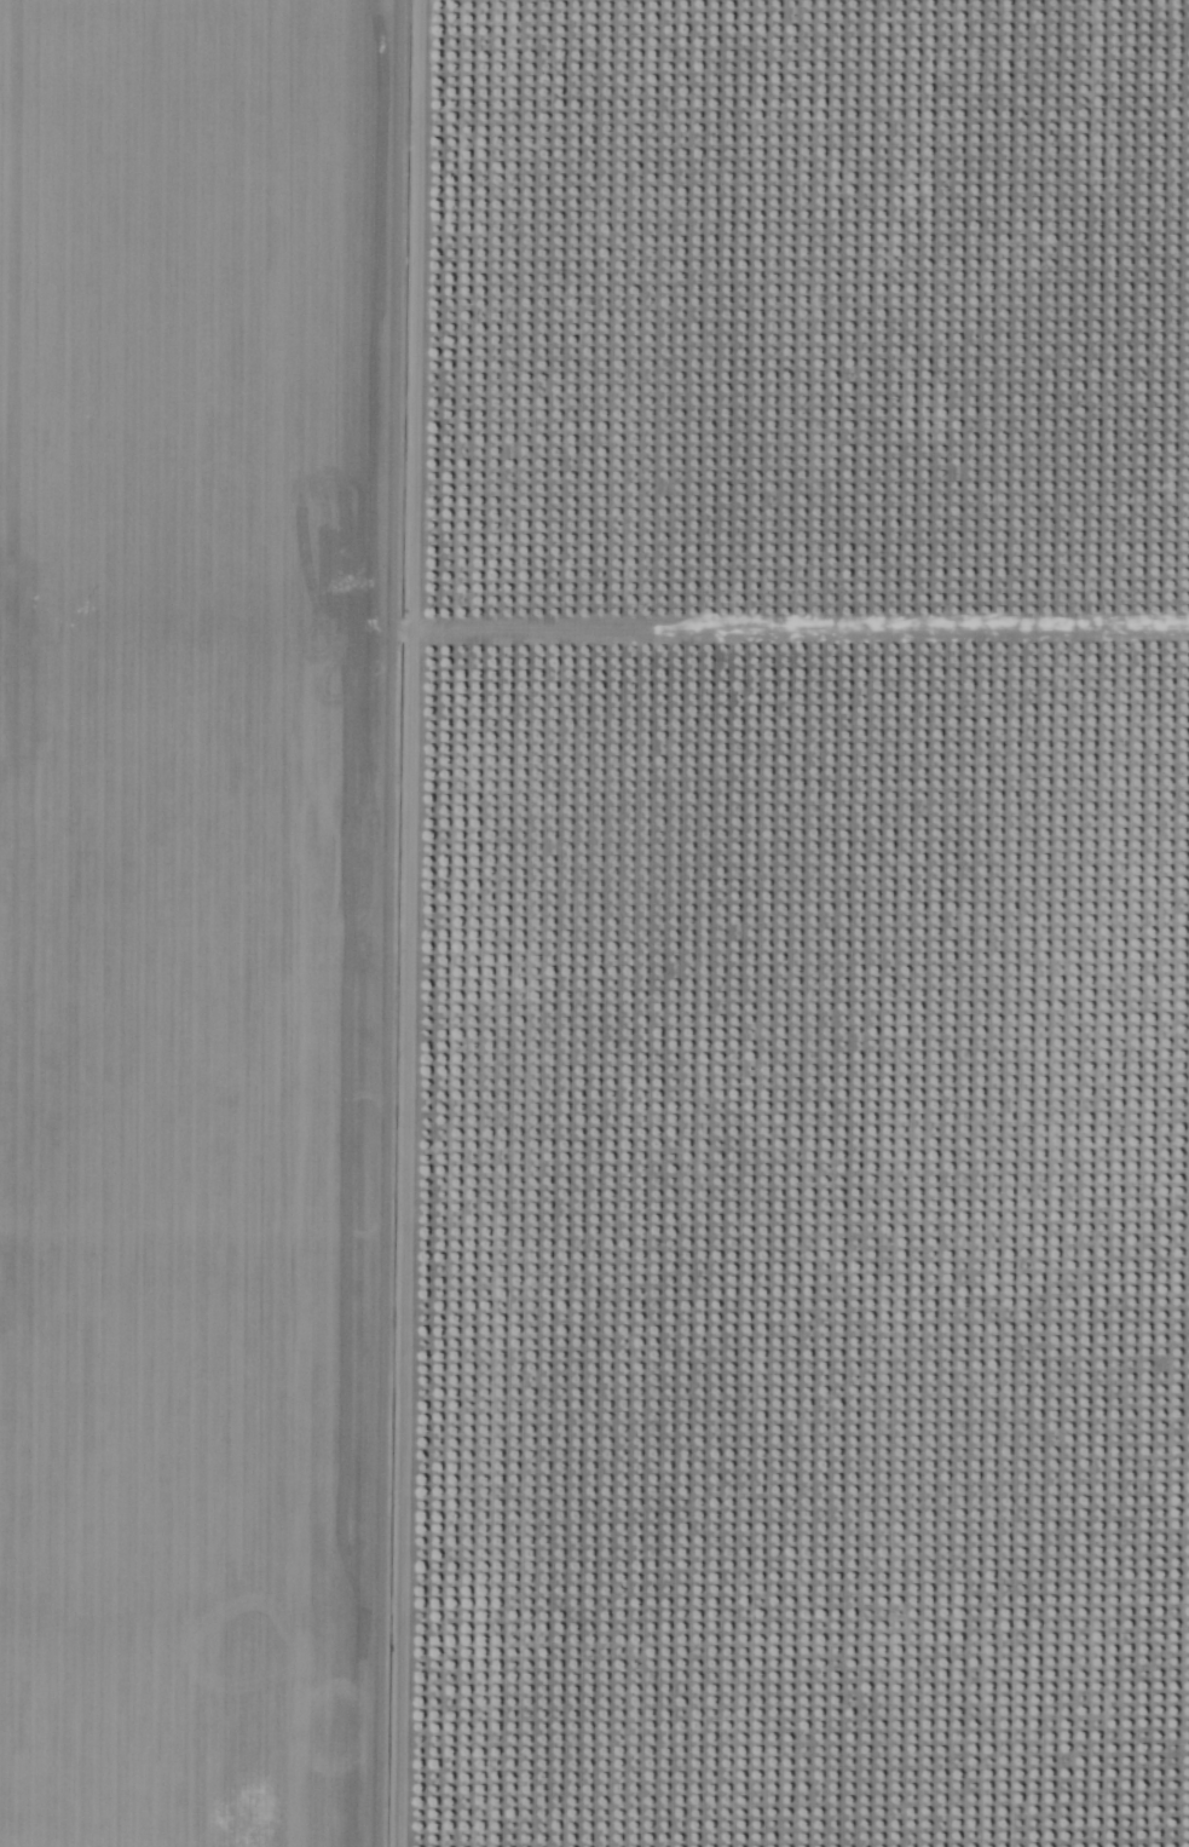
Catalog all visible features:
crop: (217, 915)
road: (434, 922)
crop: (812, 927)

